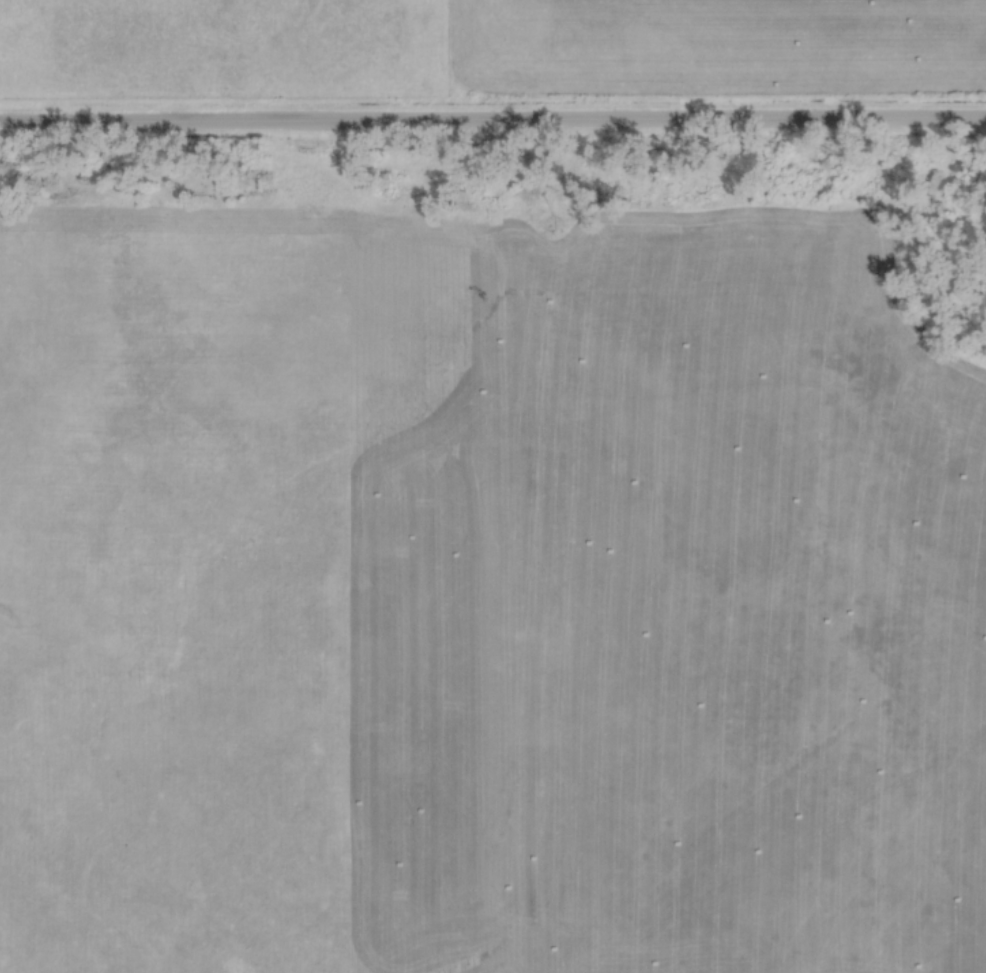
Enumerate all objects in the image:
road: (493, 117)

